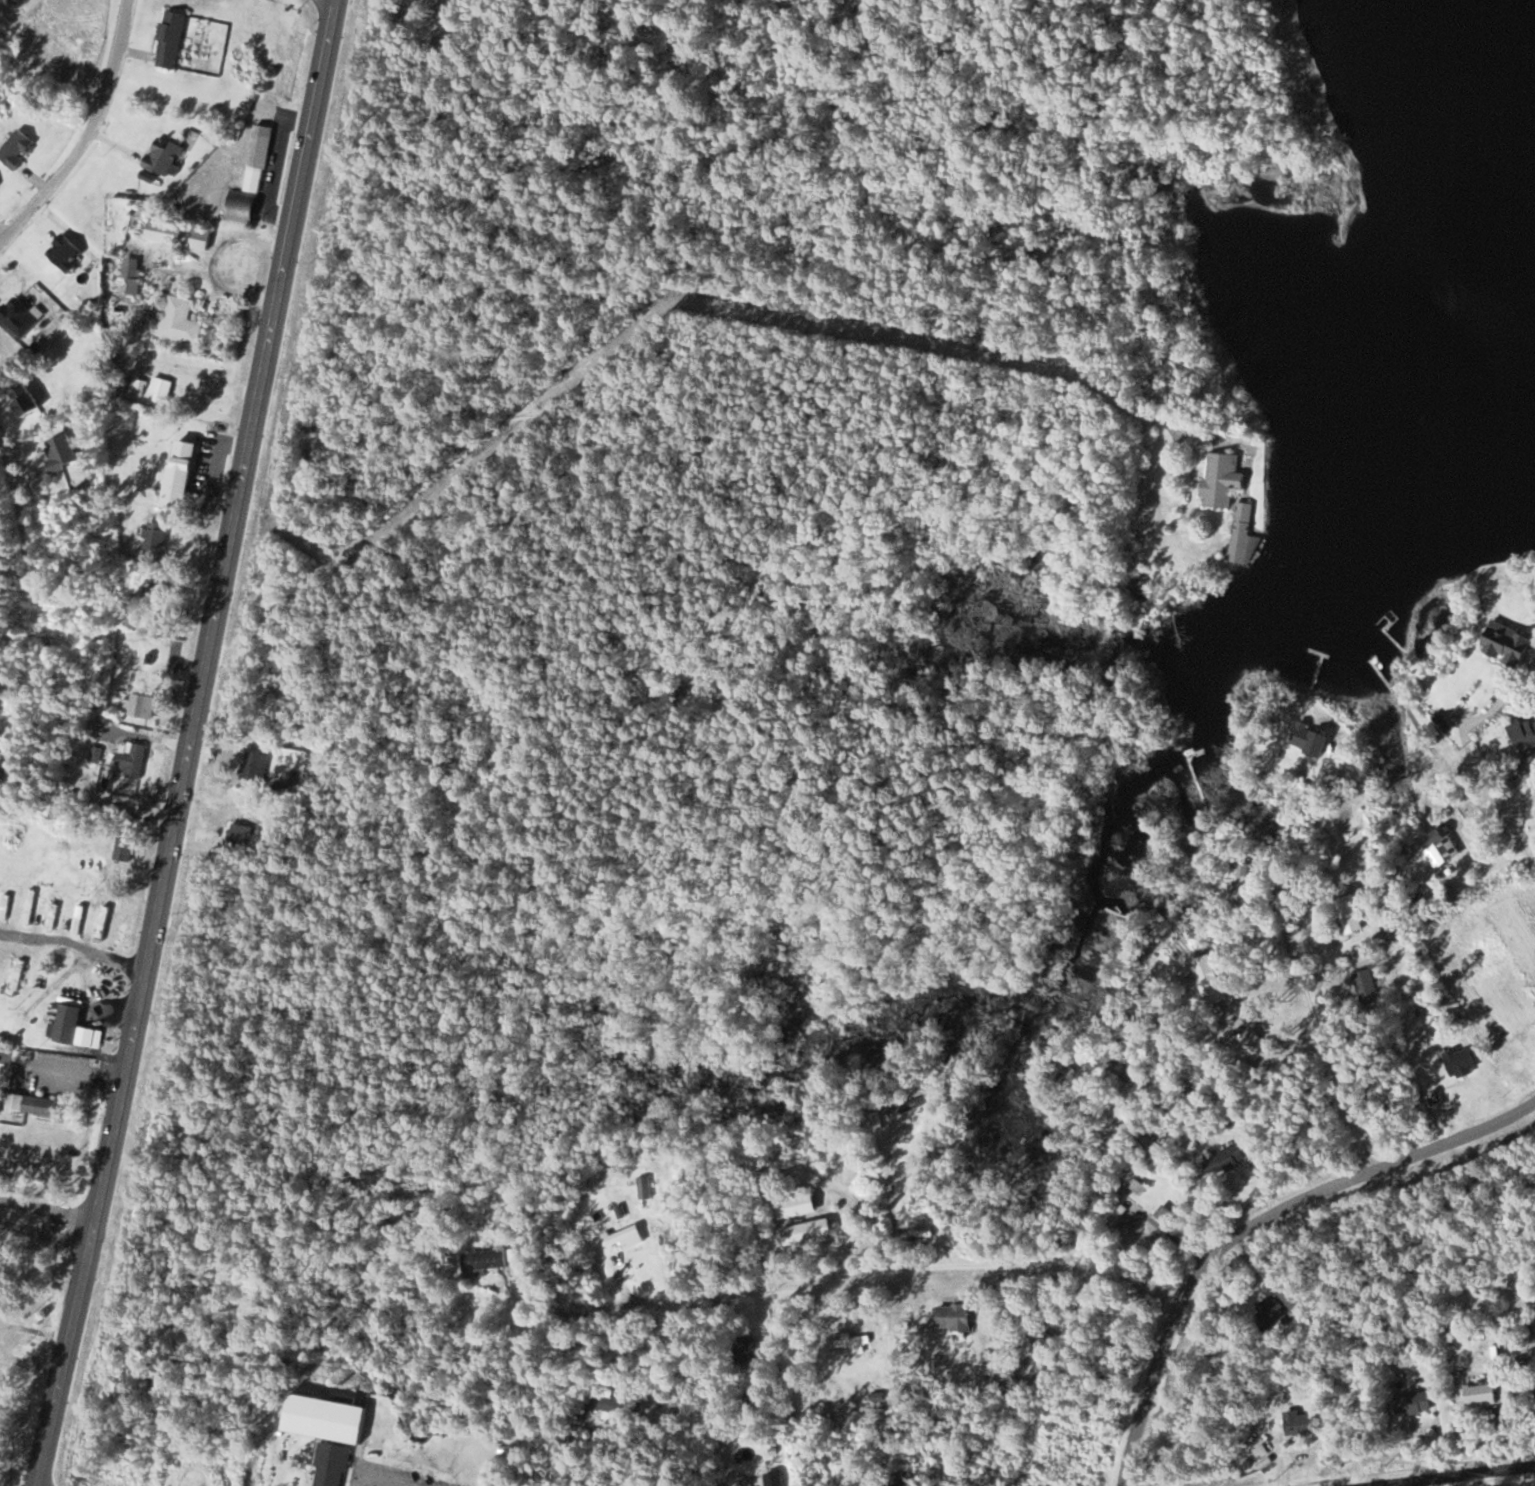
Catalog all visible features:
building: (174, 38)
road: (91, 135)
building: (164, 154)
building: (252, 180)
building: (181, 234)
building: (67, 251)
building: (129, 266)
road: (696, 279)
building: (19, 317)
building: (181, 320)
building: (32, 400)
building: (186, 469)
building: (1218, 483)
building: (1241, 536)
building: (157, 537)
road: (36, 554)
building: (1501, 644)
building: (143, 704)
building: (1523, 737)
building: (1305, 739)
road: (192, 745)
building: (134, 758)
building: (1534, 791)
road: (1503, 808)
building: (239, 832)
building: (1436, 847)
building: (127, 848)
building: (31, 906)
building: (5, 907)
building: (1347, 914)
building: (54, 916)
building: (80, 919)
building: (104, 923)
road: (75, 948)
building: (0, 959)
building: (20, 977)
building: (1205, 980)
building: (1363, 987)
building: (72, 1023)
road: (1321, 1033)
building: (1251, 1039)
building: (1456, 1062)
building: (1118, 1064)
building: (1061, 1075)
building: (44, 1106)
building: (906, 1108)
building: (873, 1122)
building: (1222, 1161)
building: (793, 1205)
building: (1124, 1218)
road: (47, 1224)
road: (1259, 1225)
building: (803, 1233)
building: (625, 1239)
building: (483, 1261)
road: (888, 1271)
building: (1266, 1313)
building: (948, 1317)
building: (744, 1350)
building: (1533, 1386)
building: (1477, 1394)
building: (600, 1402)
building: (1410, 1403)
building: (320, 1419)
building: (1296, 1424)
building: (327, 1465)
road: (1462, 1476)
building: (896, 1479)
road: (1483, 1480)

